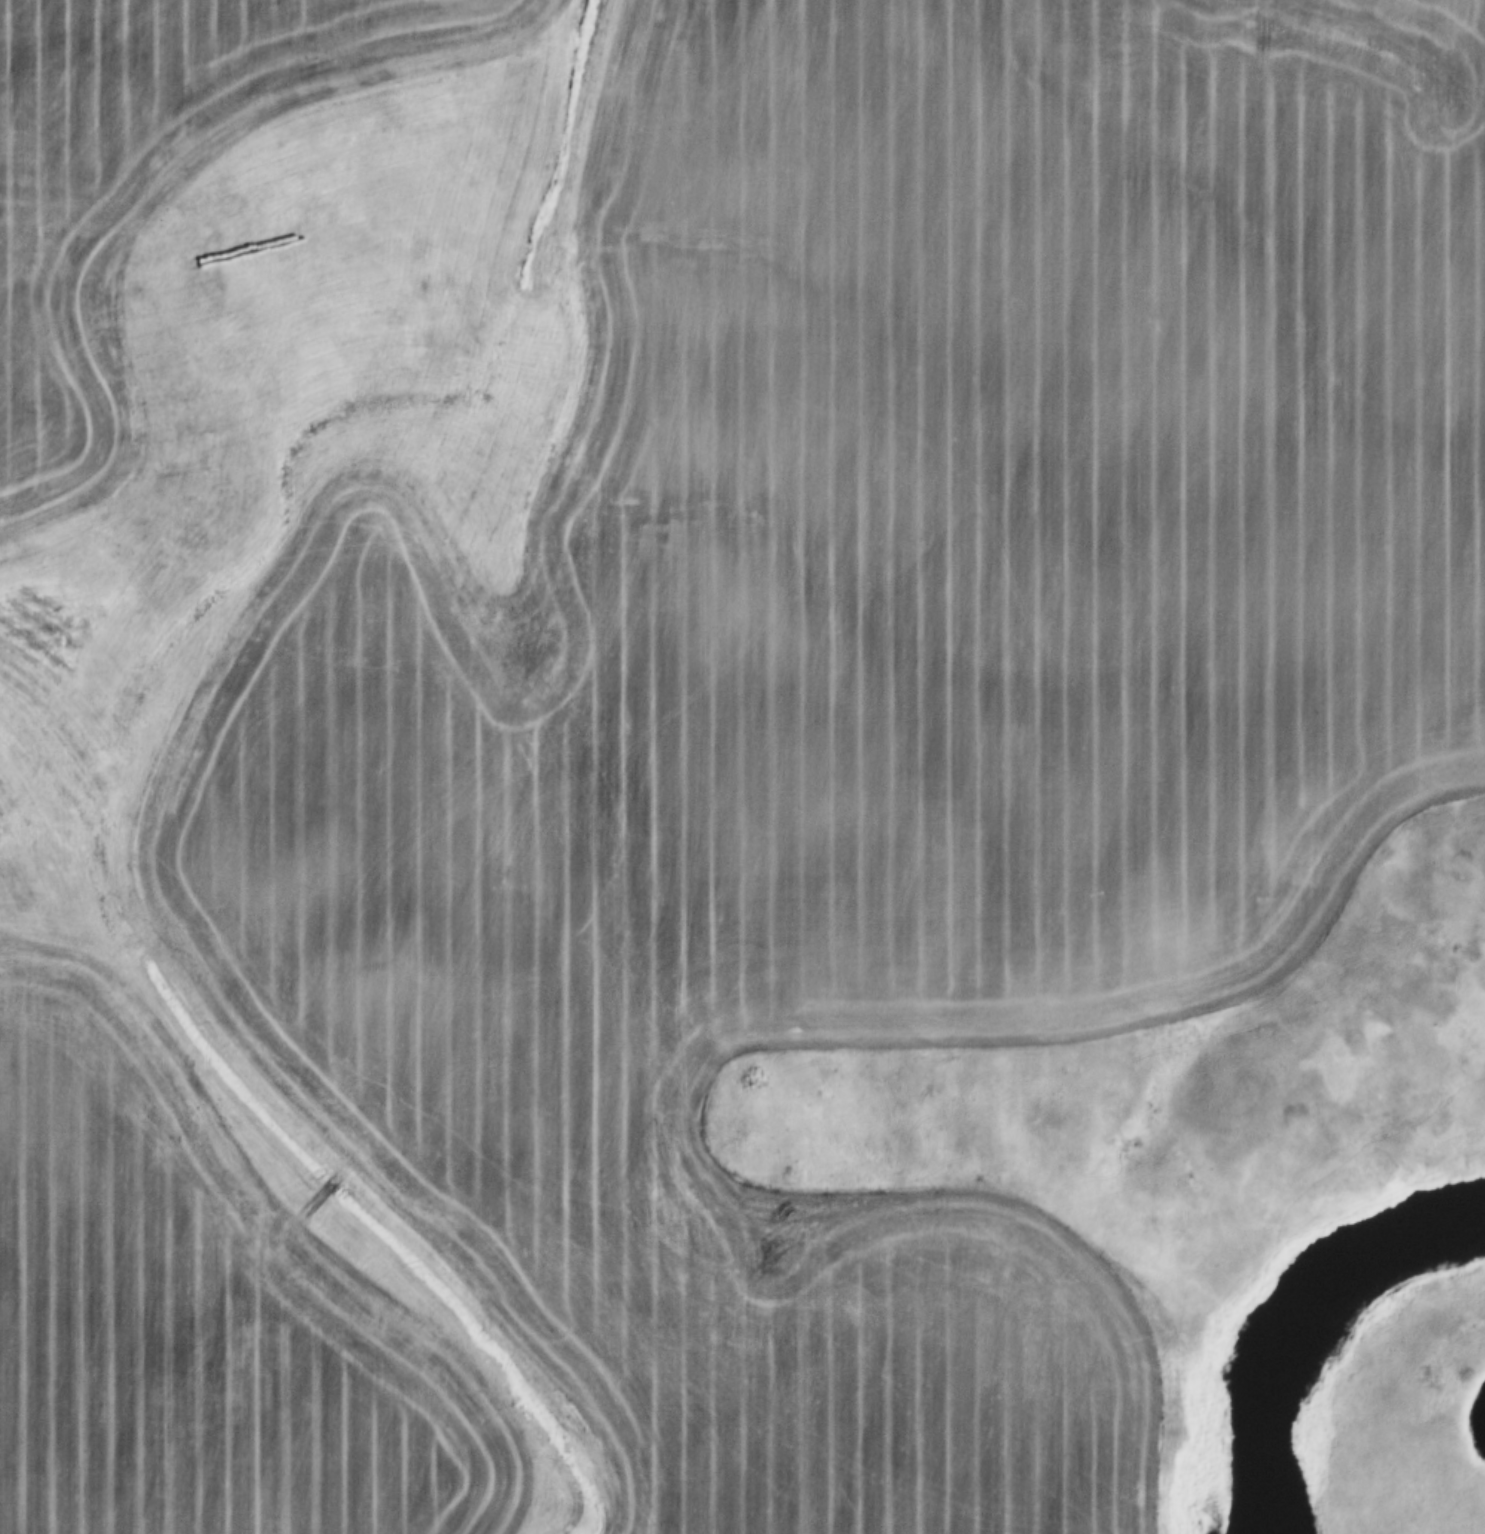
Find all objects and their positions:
river: (1296, 1317)

